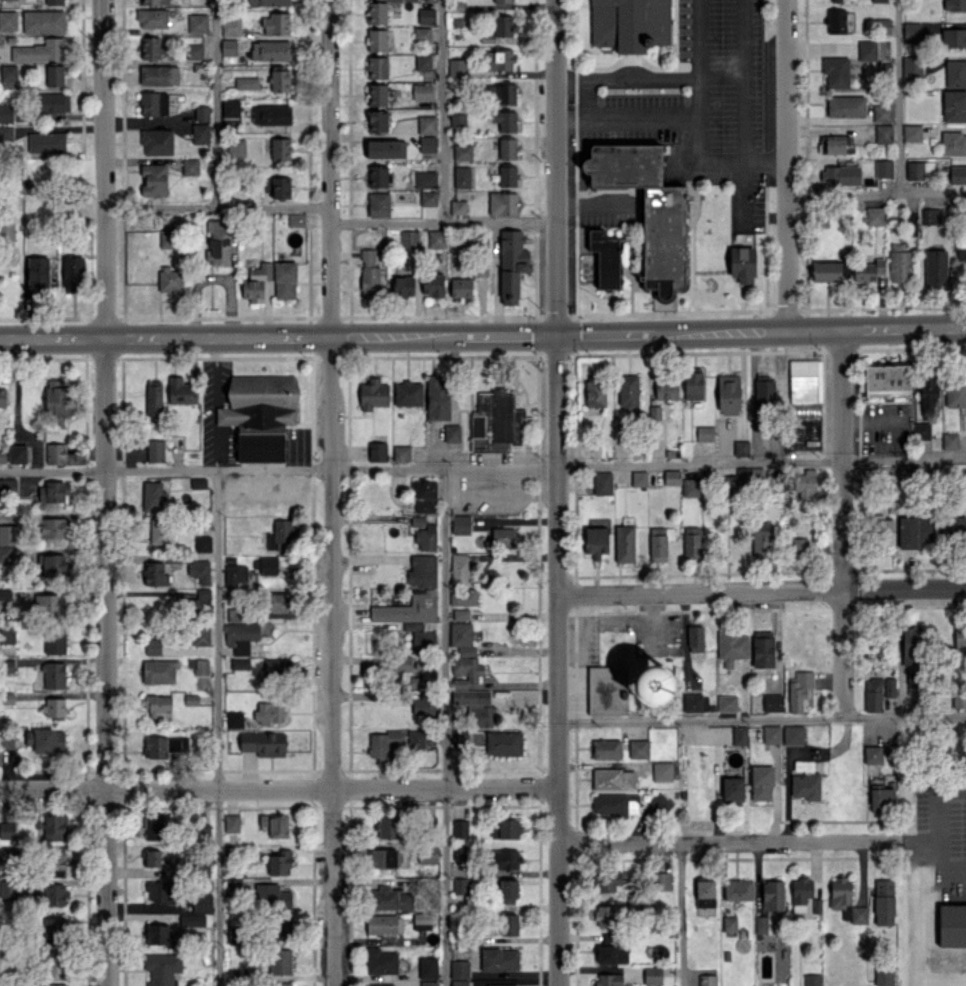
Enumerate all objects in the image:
building: (154, 1)
building: (503, 1)
building: (878, 1)
building: (55, 2)
building: (268, 2)
building: (954, 5)
building: (376, 13)
building: (426, 16)
building: (152, 18)
building: (8, 20)
building: (43, 21)
building: (836, 21)
building: (197, 23)
building: (276, 24)
building: (630, 24)
building: (503, 25)
building: (884, 25)
building: (230, 26)
building: (912, 32)
building: (422, 34)
building: (953, 37)
building: (376, 40)
building: (150, 47)
building: (228, 47)
building: (39, 50)
building: (270, 50)
building: (867, 50)
building: (194, 51)
building: (498, 60)
building: (423, 62)
building: (912, 66)
building: (377, 67)
building: (457, 67)
building: (836, 71)
building: (955, 73)
building: (9, 75)
building: (55, 75)
building: (159, 75)
road: (627, 78)
building: (279, 80)
building: (246, 83)
building: (422, 92)
building: (377, 94)
building: (501, 94)
road: (899, 98)
building: (52, 102)
building: (154, 103)
road: (215, 103)
building: (845, 106)
building: (954, 106)
building: (231, 109)
road: (441, 110)
building: (6, 113)
building: (202, 113)
building: (882, 113)
building: (271, 114)
road: (825, 114)
road: (628, 116)
building: (504, 120)
building: (377, 121)
road: (701, 121)
building: (458, 122)
building: (427, 124)
building: (912, 132)
building: (200, 133)
building: (884, 133)
building: (46, 142)
building: (157, 142)
building: (953, 143)
building: (427, 144)
building: (835, 144)
building: (237, 148)
building: (507, 148)
building: (280, 149)
building: (386, 149)
building: (462, 152)
road: (784, 165)
building: (190, 166)
building: (883, 168)
building: (918, 169)
building: (955, 174)
building: (507, 175)
building: (842, 175)
building: (377, 176)
building: (462, 176)
building: (153, 179)
building: (425, 179)
building: (277, 186)
building: (428, 198)
road: (874, 198)
building: (502, 203)
building: (378, 204)
road: (217, 206)
building: (458, 207)
building: (647, 210)
building: (874, 215)
building: (930, 216)
building: (296, 219)
road: (443, 220)
building: (6, 230)
building: (168, 238)
building: (409, 239)
building: (435, 239)
building: (219, 242)
building: (961, 251)
building: (605, 258)
building: (899, 263)
building: (512, 264)
building: (742, 264)
building: (935, 268)
building: (826, 271)
building: (868, 271)
building: (37, 273)
building: (72, 274)
building: (369, 274)
road: (495, 277)
building: (169, 280)
building: (285, 280)
building: (256, 282)
building: (433, 284)
building: (403, 286)
building: (461, 287)
road: (902, 328)
road: (747, 331)
road: (605, 334)
road: (394, 335)
road: (507, 335)
traffic signals: (556, 335)
road: (164, 337)
building: (887, 380)
building: (805, 381)
building: (693, 385)
building: (666, 389)
building: (764, 389)
building: (595, 390)
building: (181, 391)
building: (955, 391)
building: (407, 393)
building: (628, 393)
building: (373, 394)
building: (728, 394)
building: (927, 394)
building: (2, 397)
building: (58, 397)
building: (437, 398)
building: (154, 400)
road: (214, 403)
building: (260, 414)
building: (496, 421)
building: (921, 431)
building: (451, 433)
building: (704, 433)
building: (949, 441)
building: (741, 448)
building: (155, 451)
building: (377, 451)
building: (55, 453)
building: (401, 453)
building: (17, 454)
building: (2, 455)
road: (761, 462)
road: (500, 467)
road: (222, 469)
building: (671, 477)
building: (639, 478)
building: (198, 482)
building: (740, 482)
building: (602, 483)
building: (801, 483)
building: (7, 486)
building: (690, 487)
building: (54, 491)
road: (332, 492)
road: (103, 493)
road: (557, 493)
building: (424, 496)
building: (153, 497)
building: (460, 524)
road: (841, 524)
building: (53, 528)
building: (953, 528)
building: (160, 531)
building: (915, 532)
building: (280, 533)
building: (885, 533)
building: (9, 534)
building: (502, 536)
building: (426, 538)
building: (596, 541)
building: (761, 541)
building: (691, 542)
building: (202, 543)
building: (624, 543)
building: (659, 543)
building: (799, 545)
building: (5, 554)
building: (54, 564)
building: (268, 565)
building: (459, 569)
building: (199, 570)
building: (422, 570)
building: (155, 574)
building: (236, 576)
road: (762, 592)
building: (203, 595)
building: (463, 596)
building: (279, 601)
building: (50, 605)
building: (408, 608)
building: (461, 614)
building: (412, 626)
building: (7, 634)
building: (201, 634)
building: (241, 636)
building: (960, 636)
building: (462, 638)
building: (695, 638)
building: (55, 641)
building: (423, 641)
building: (153, 646)
building: (732, 647)
building: (763, 649)
building: (912, 653)
building: (239, 663)
building: (403, 663)
building: (199, 666)
building: (159, 671)
building: (465, 671)
building: (54, 675)
building: (424, 677)
building: (653, 686)
building: (889, 687)
building: (607, 689)
water tower: (654, 690)
building: (800, 691)
building: (873, 695)
building: (470, 696)
building: (959, 697)
building: (695, 702)
building: (772, 702)
building: (158, 703)
building: (727, 703)
building: (424, 706)
building: (54, 707)
building: (269, 713)
building: (480, 715)
building: (235, 719)
road: (761, 719)
road: (217, 727)
road: (444, 727)
building: (771, 734)
building: (739, 735)
building: (793, 735)
building: (416, 739)
building: (46, 740)
building: (264, 743)
building: (503, 743)
building: (383, 744)
building: (155, 747)
building: (638, 748)
building: (606, 749)
building: (872, 754)
building: (662, 771)
building: (613, 778)
building: (805, 780)
building: (762, 782)
road: (279, 788)
building: (733, 788)
building: (881, 798)
building: (615, 804)
road: (939, 804)
building: (231, 822)
building: (275, 824)
building: (155, 826)
building: (54, 827)
building: (387, 827)
building: (460, 828)
building: (504, 828)
building: (7, 830)
road: (727, 842)
road: (939, 843)
building: (459, 852)
building: (428, 853)
building: (150, 858)
building: (384, 858)
building: (505, 859)
building: (280, 862)
building: (55, 863)
building: (608, 881)
building: (662, 881)
building: (460, 885)
building: (8, 888)
building: (738, 889)
building: (160, 891)
building: (508, 891)
building: (840, 894)
building: (55, 895)
building: (772, 895)
building: (276, 896)
building: (705, 896)
building: (389, 899)
building: (202, 902)
building: (883, 902)
building: (858, 914)
building: (606, 915)
road: (680, 915)
building: (422, 920)
building: (760, 923)
building: (384, 924)
building: (509, 924)
building: (730, 924)
building: (952, 925)
building: (55, 928)
building: (281, 928)
building: (156, 933)
building: (235, 935)
building: (611, 955)
building: (499, 959)
building: (280, 961)
building: (380, 961)
building: (54, 962)
building: (427, 967)
building: (162, 968)
building: (459, 969)
building: (653, 975)
building: (883, 976)
building: (609, 979)
building: (707, 980)
building: (812, 980)
building: (458, 982)
building: (479, 982)
building: (428, 983)
building: (54, 984)
building: (280, 984)
building: (381, 984)
building: (502, 985)

